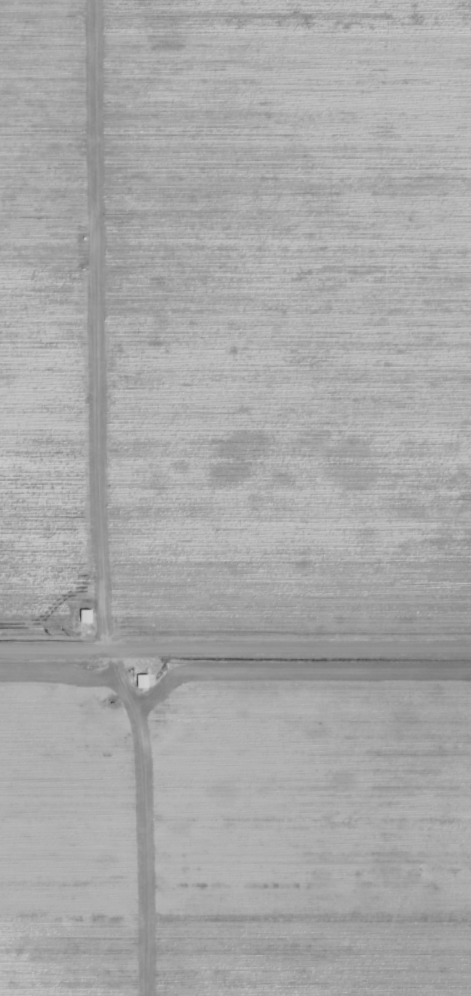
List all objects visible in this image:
road: (87, 325)
building: (83, 615)
road: (41, 651)
road: (112, 653)
road: (307, 654)
building: (139, 681)
road: (142, 826)

